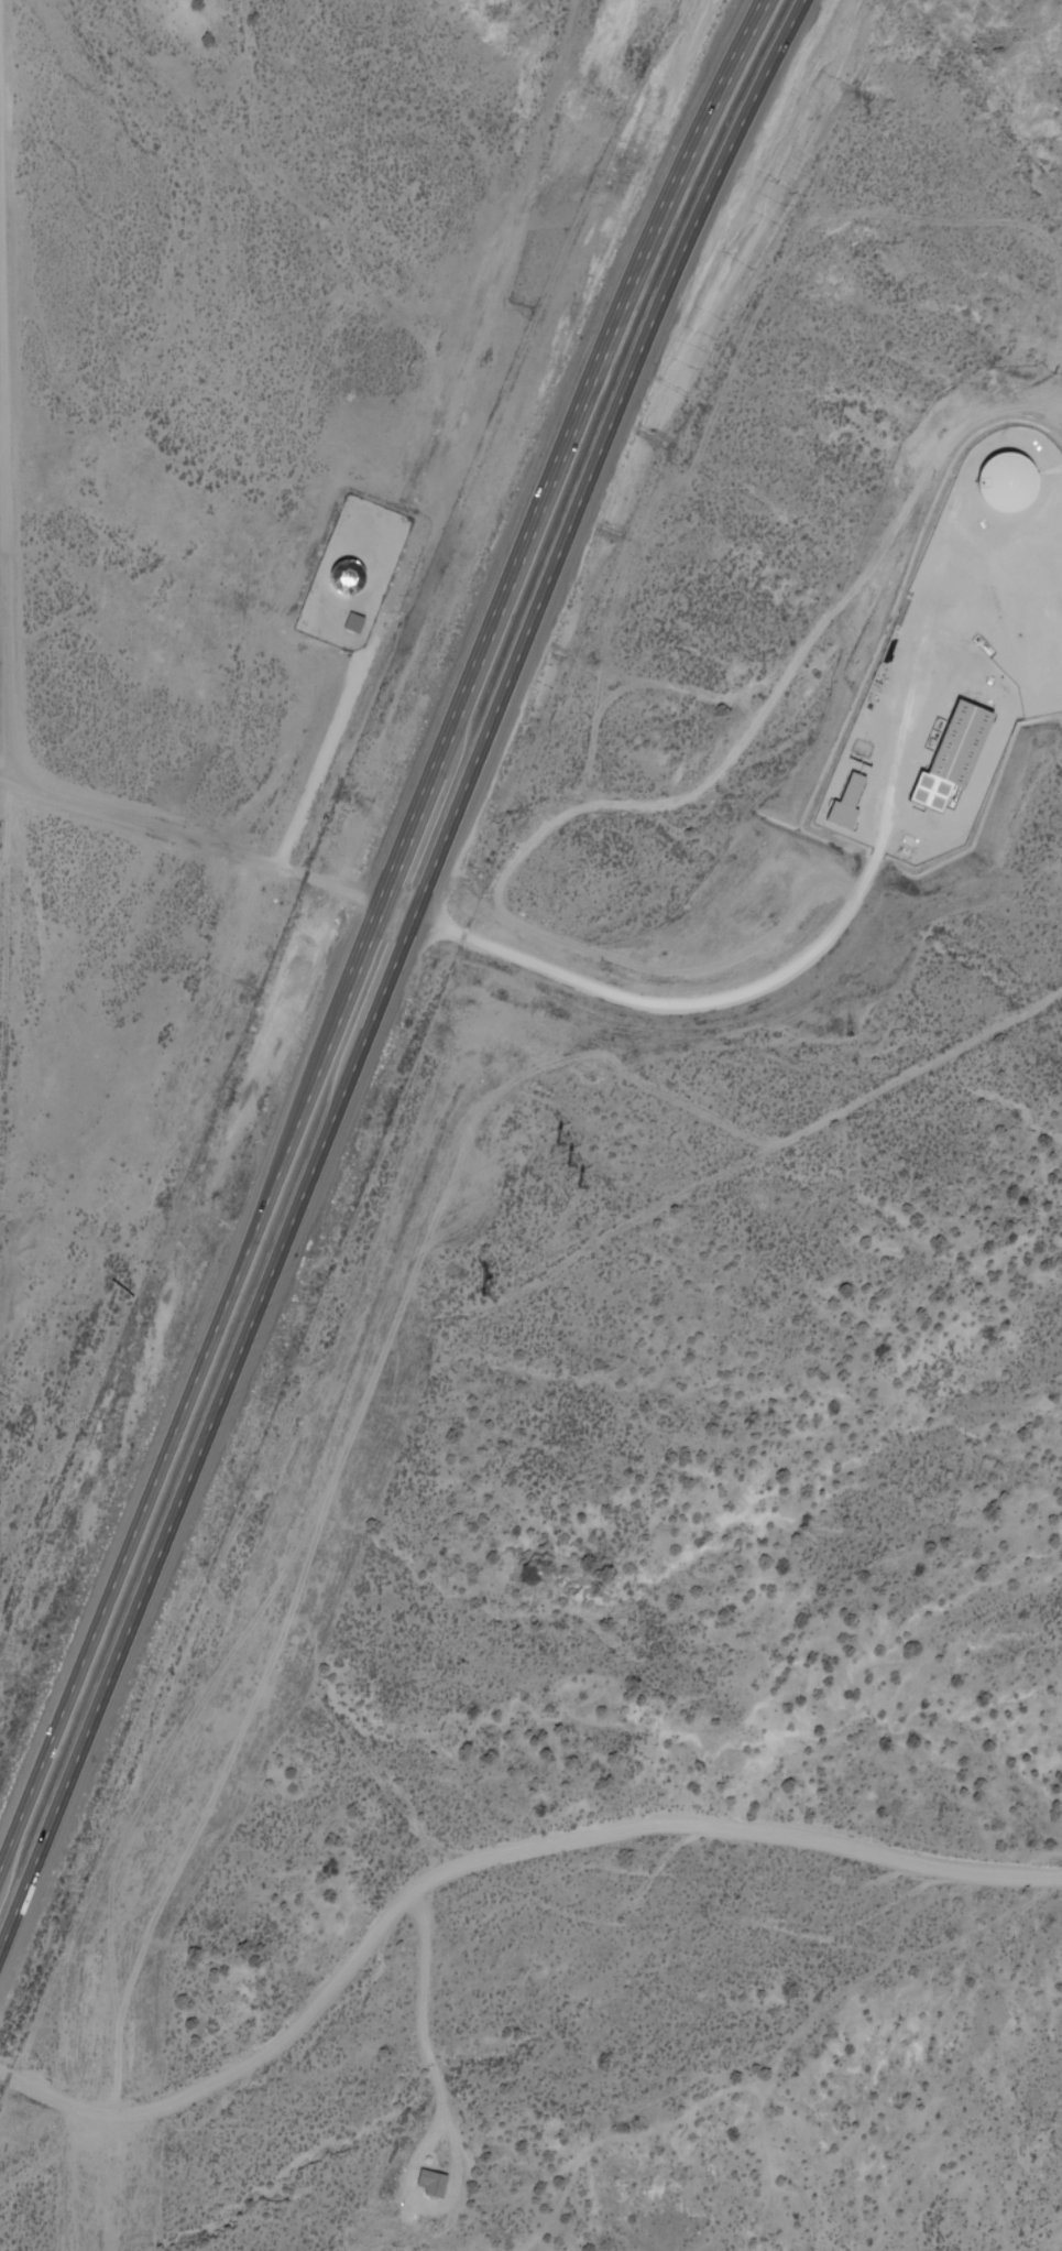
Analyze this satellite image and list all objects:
road: (227, 155)
road: (4, 404)
building: (1016, 487)
building: (962, 760)
road: (904, 762)
building: (858, 801)
road: (209, 841)
road: (369, 933)
road: (392, 971)
road: (781, 985)
road: (792, 1142)
power tower: (570, 1164)
power tower: (491, 1294)
road: (483, 1870)
road: (21, 2127)
road: (65, 2160)

